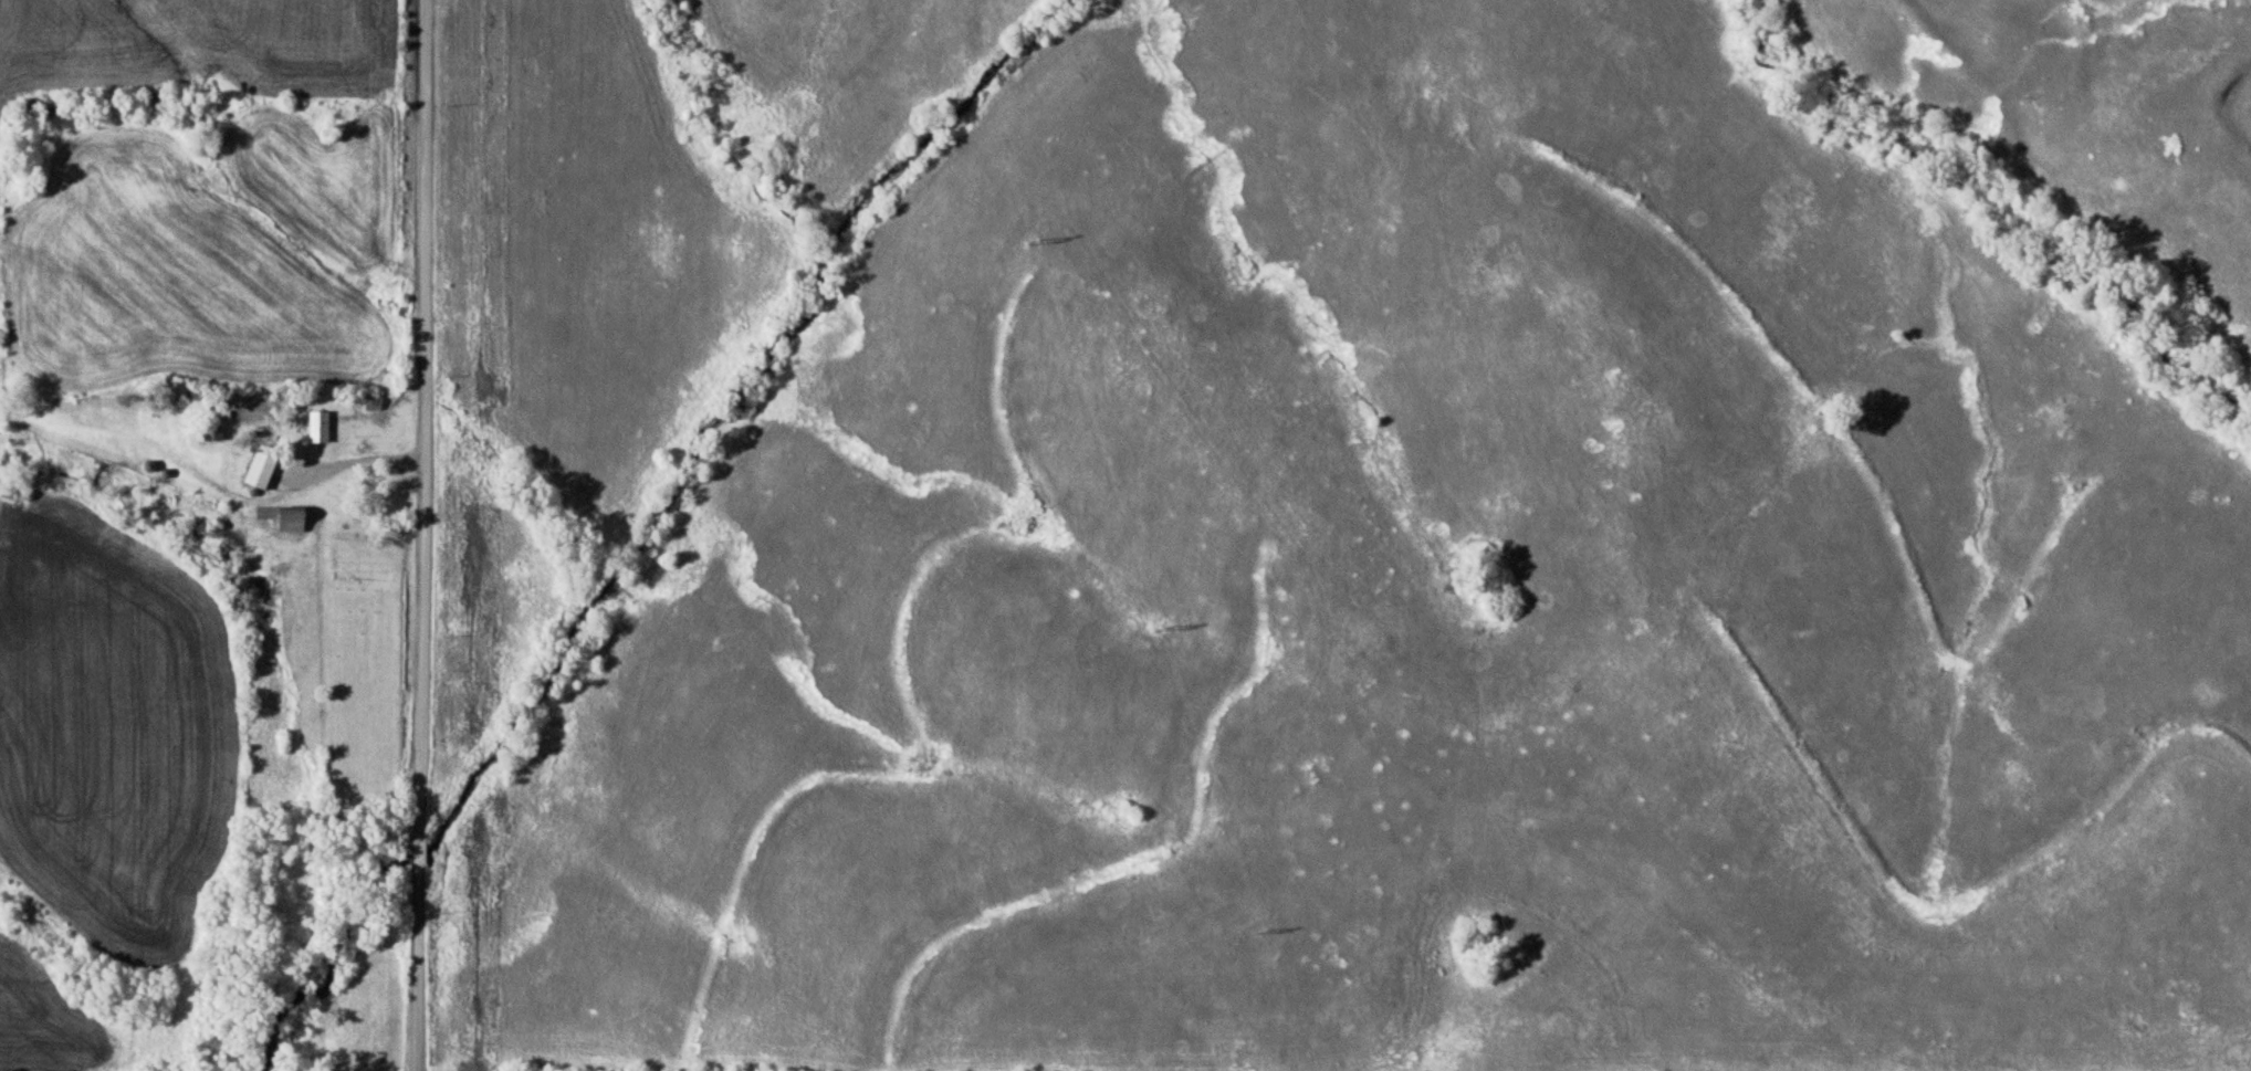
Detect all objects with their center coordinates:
road: (420, 416)
building: (321, 426)
building: (264, 470)
building: (268, 513)
road: (418, 848)
road: (417, 967)

